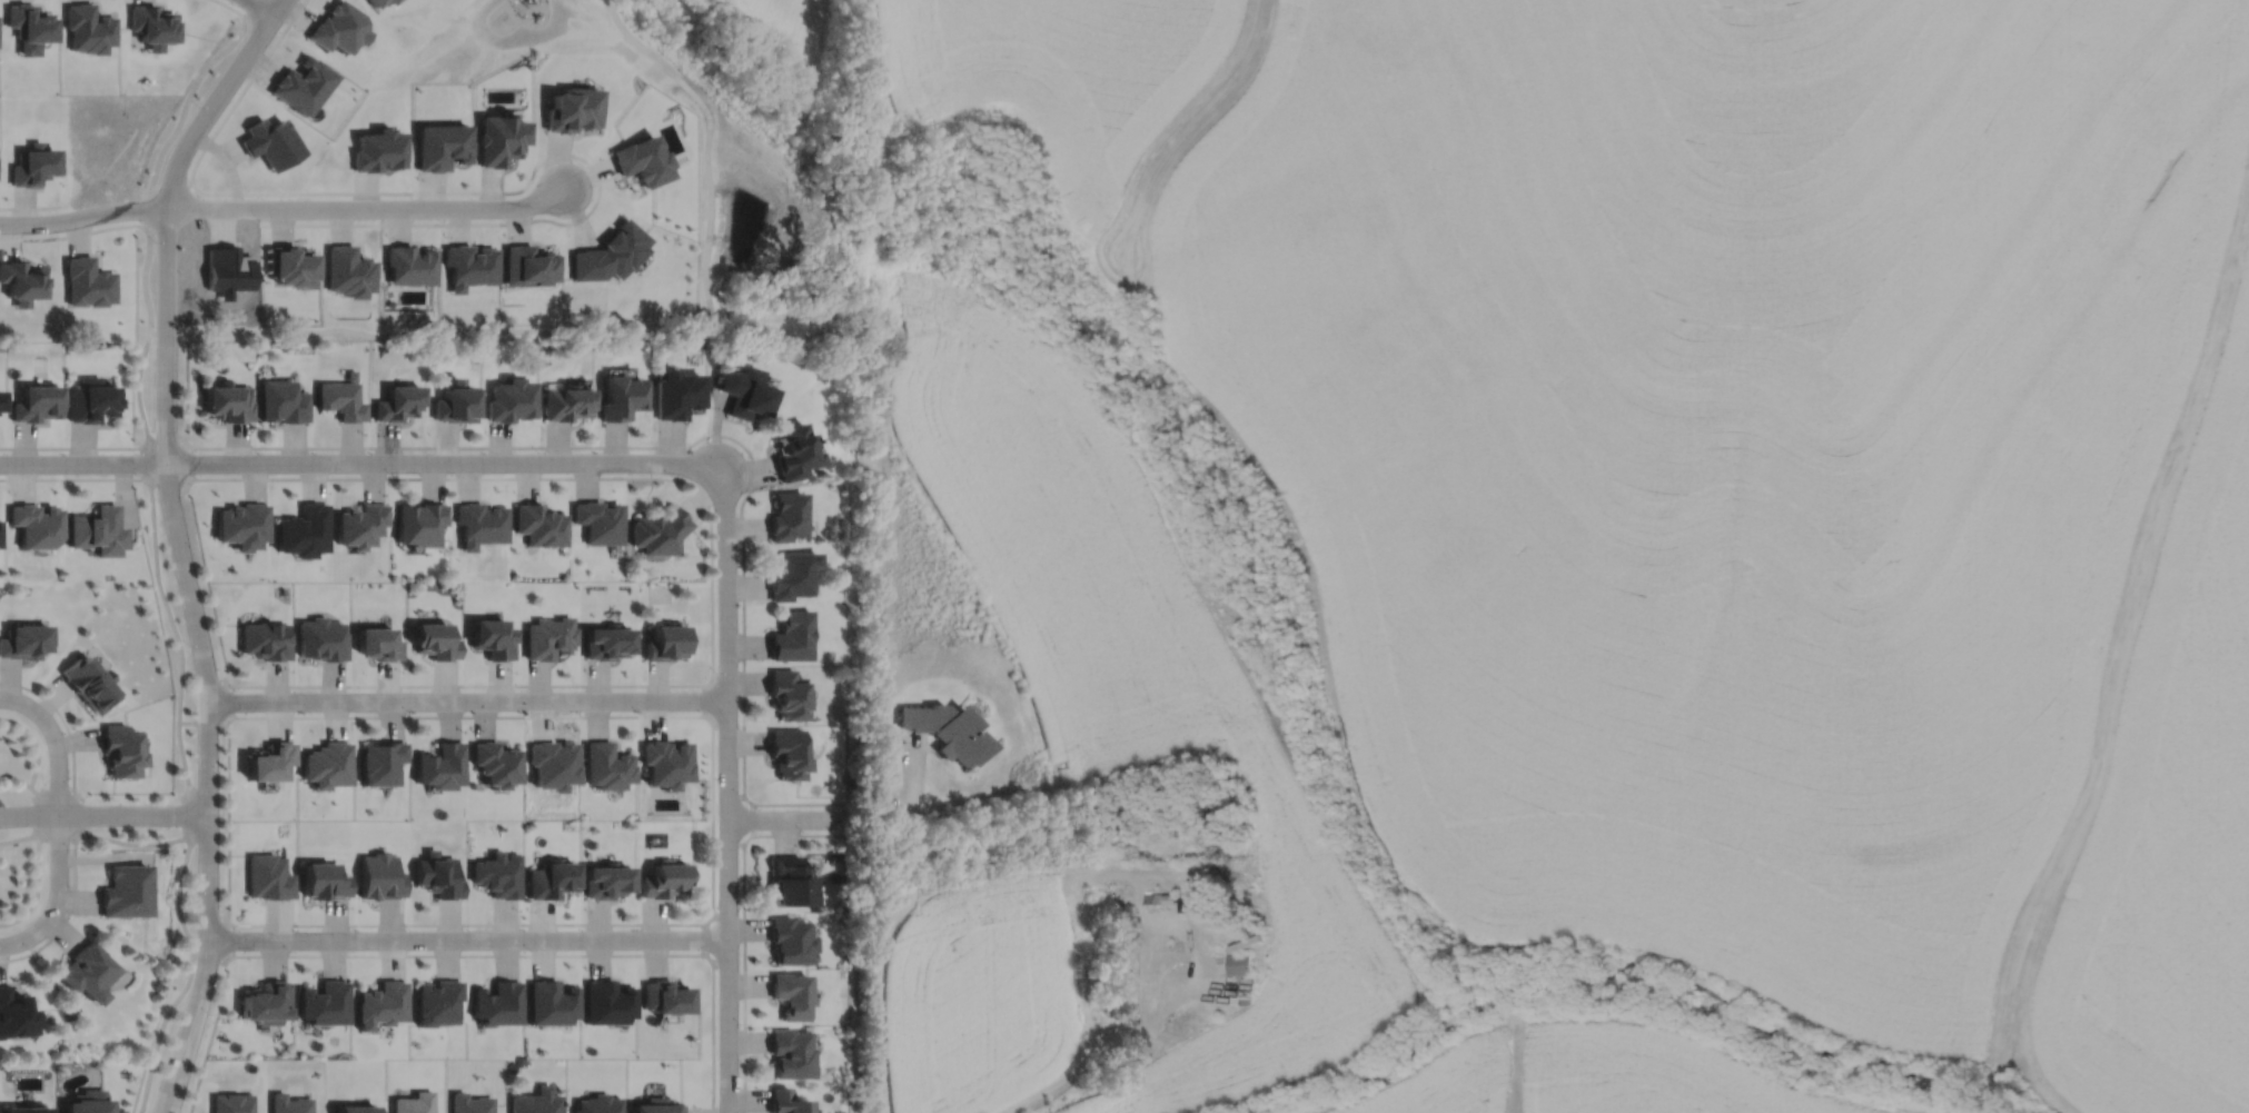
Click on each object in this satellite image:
building: (390, 0)
building: (376, 2)
road: (262, 6)
road: (278, 6)
building: (29, 22)
building: (153, 24)
building: (338, 27)
building: (89, 28)
road: (276, 40)
crop: (1058, 70)
building: (303, 83)
road: (185, 105)
building: (573, 109)
building: (501, 138)
building: (269, 142)
building: (440, 145)
building: (643, 160)
building: (33, 165)
road: (33, 206)
road: (367, 207)
road: (83, 215)
road: (551, 219)
road: (30, 238)
building: (611, 254)
building: (410, 265)
building: (289, 266)
building: (470, 266)
building: (529, 266)
building: (347, 270)
building: (88, 282)
road: (143, 287)
road: (613, 332)
building: (744, 392)
building: (622, 394)
building: (678, 395)
building: (340, 400)
building: (509, 400)
building: (1, 401)
building: (91, 401)
building: (281, 401)
building: (227, 403)
building: (454, 403)
building: (38, 404)
building: (396, 404)
building: (565, 404)
road: (162, 440)
road: (692, 443)
crop: (1715, 444)
road: (78, 446)
building: (794, 453)
road: (143, 461)
road: (363, 461)
road: (171, 485)
building: (787, 517)
building: (598, 518)
building: (418, 519)
building: (239, 521)
building: (357, 521)
building: (478, 521)
building: (538, 521)
building: (34, 523)
building: (97, 527)
building: (300, 527)
building: (660, 528)
road: (180, 551)
building: (791, 572)
building: (791, 634)
building: (492, 635)
building: (548, 635)
building: (320, 637)
building: (24, 638)
building: (262, 638)
building: (433, 638)
building: (605, 639)
building: (665, 639)
building: (376, 640)
road: (181, 659)
road: (726, 675)
building: (89, 680)
crop: (1137, 685)
building: (787, 692)
road: (704, 698)
road: (467, 699)
road: (518, 715)
road: (207, 721)
road: (726, 724)
building: (947, 728)
road: (70, 739)
road: (34, 742)
building: (120, 748)
building: (786, 752)
building: (266, 758)
building: (378, 761)
building: (665, 761)
building: (494, 762)
building: (325, 763)
building: (438, 764)
building: (605, 764)
road: (16, 775)
building: (849, 778)
road: (727, 786)
road: (727, 796)
road: (36, 813)
road: (103, 813)
road: (751, 817)
road: (786, 817)
road: (58, 819)
crop: (2168, 827)
road: (56, 835)
road: (18, 837)
road: (727, 843)
building: (437, 874)
building: (497, 874)
building: (378, 875)
building: (267, 876)
building: (551, 877)
building: (321, 878)
building: (664, 878)
building: (605, 880)
building: (789, 881)
building: (125, 890)
road: (36, 891)
building: (1151, 896)
building: (1100, 897)
building: (1168, 897)
building: (1187, 901)
road: (67, 913)
road: (727, 915)
road: (744, 924)
road: (890, 930)
road: (704, 937)
road: (468, 938)
building: (789, 940)
road: (212, 956)
road: (727, 962)
building: (1238, 963)
building: (86, 971)
building: (1119, 972)
road: (188, 976)
building: (790, 994)
crop: (977, 995)
building: (664, 996)
building: (436, 1001)
building: (265, 1002)
building: (551, 1002)
building: (606, 1002)
building: (324, 1003)
building: (497, 1003)
building: (380, 1004)
road: (1170, 1006)
building: (13, 1014)
building: (791, 1050)
road: (1079, 1070)
crop: (1599, 1073)
building: (787, 1100)
building: (537, 1101)
building: (87, 1102)
building: (230, 1103)
building: (414, 1103)
building: (470, 1103)
building: (288, 1104)
building: (597, 1104)
building: (656, 1106)
building: (26, 1109)
building: (355, 1110)

